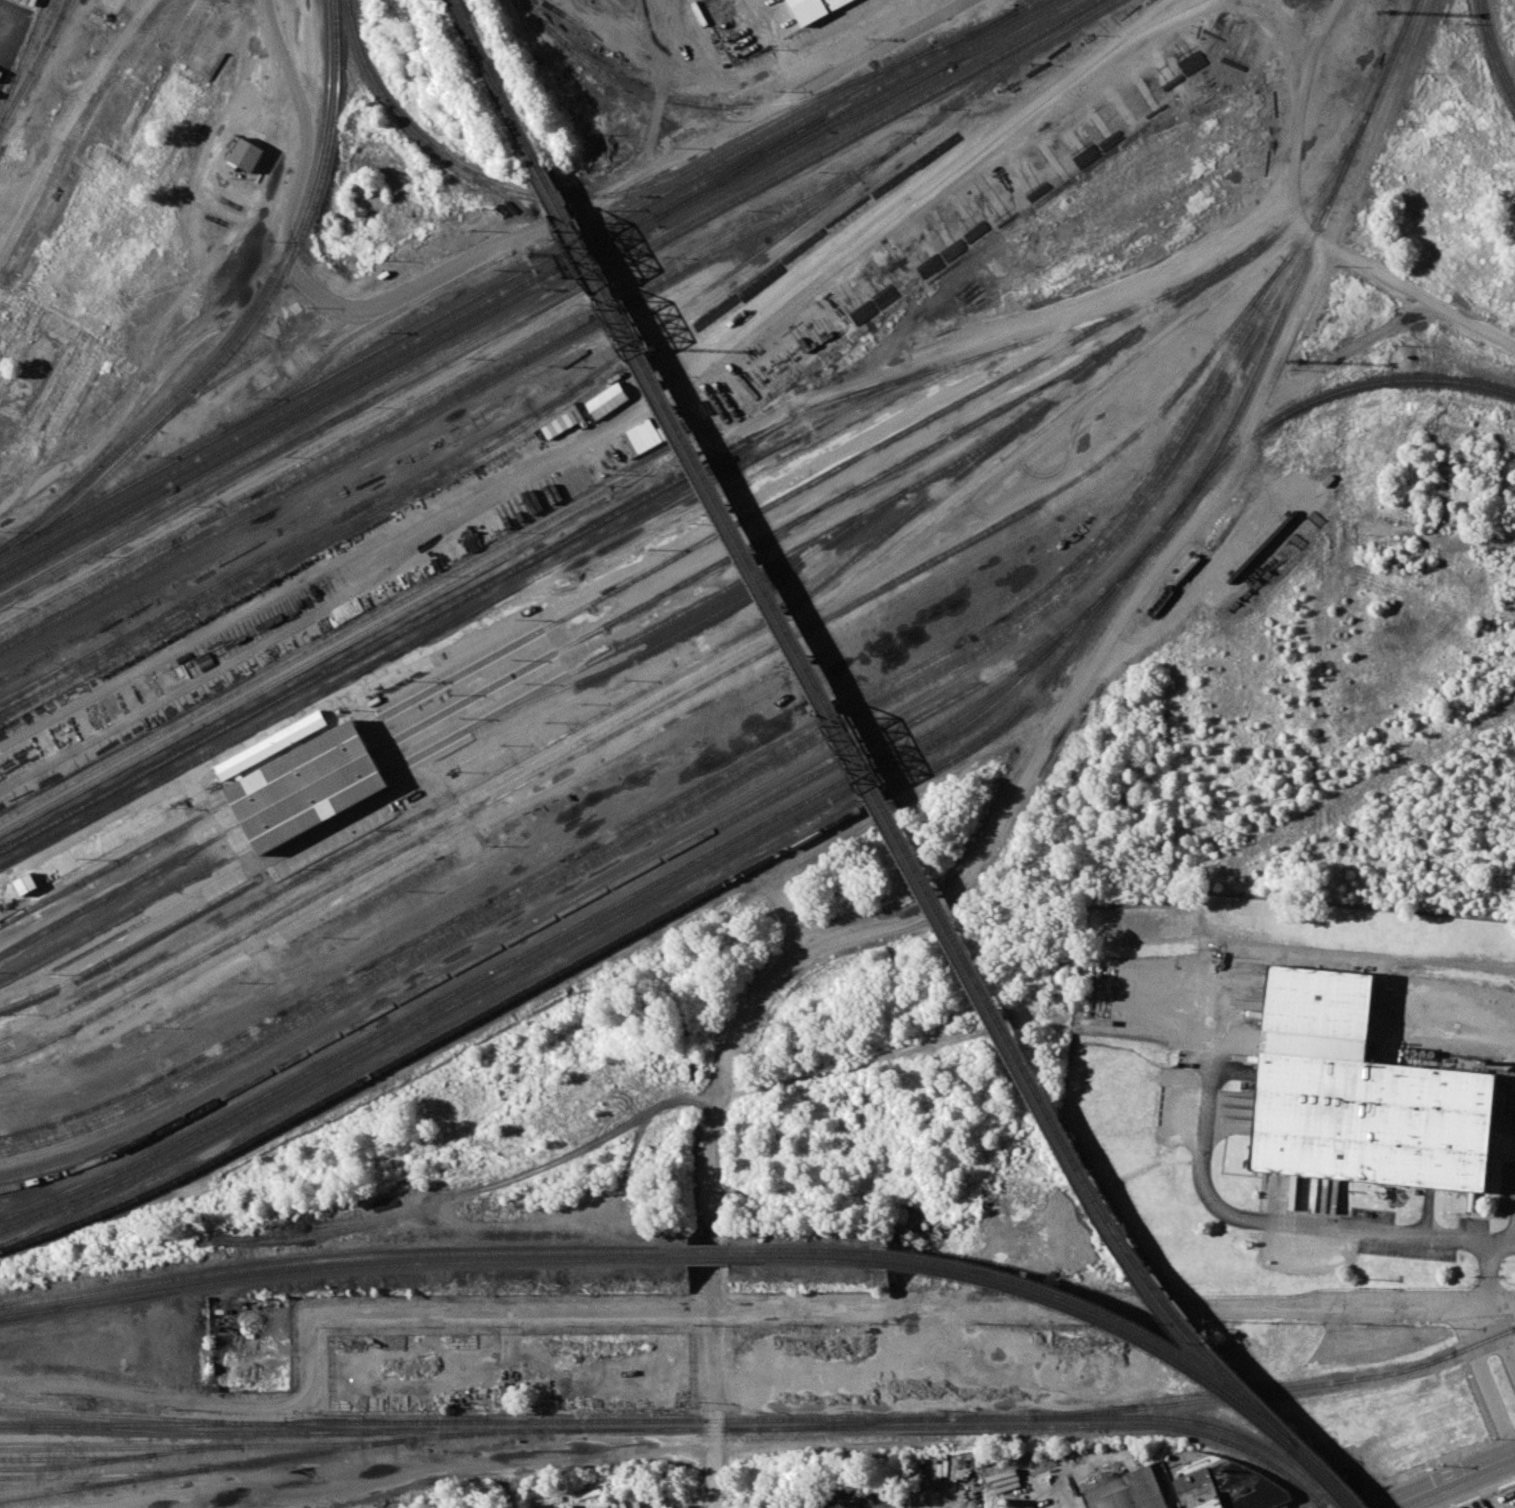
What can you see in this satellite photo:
building: (816, 9)
railway: (58, 20)
railway: (946, 43)
railway: (1493, 52)
railway: (23, 59)
railway: (35, 63)
railway: (988, 80)
railway: (498, 87)
railway: (685, 100)
road: (74, 121)
road: (314, 123)
building: (247, 154)
railway: (742, 167)
railway: (575, 196)
road: (1305, 229)
road: (475, 258)
railway: (519, 283)
railway: (529, 288)
road: (325, 296)
railway: (466, 301)
railway: (549, 302)
railway: (260, 313)
railway: (245, 319)
railway: (667, 321)
railway: (358, 332)
railway: (505, 363)
railway: (213, 385)
railway: (1322, 397)
building: (607, 400)
railway: (416, 401)
railway: (868, 416)
railway: (423, 419)
road: (1019, 451)
railway: (898, 465)
railway: (801, 489)
railway: (591, 498)
railway: (290, 546)
railway: (528, 561)
railway: (767, 567)
railway: (231, 589)
railway: (507, 593)
railway: (60, 606)
railway: (703, 621)
railway: (355, 638)
railway: (328, 662)
railway: (669, 703)
building: (271, 745)
railway: (528, 755)
railway: (766, 758)
railway: (732, 766)
railway: (739, 782)
building: (303, 788)
railway: (877, 798)
railway: (896, 828)
railway: (9, 864)
railway: (113, 864)
building: (25, 884)
railway: (117, 893)
railway: (594, 897)
railway: (126, 917)
railway: (148, 919)
railway: (565, 932)
railway: (136, 945)
railway: (538, 959)
road: (792, 964)
building: (1357, 1096)
building: (1499, 1101)
road: (1288, 1224)
railway: (812, 1249)
railway: (709, 1250)
railway: (341, 1258)
railway: (707, 1259)
railway: (809, 1259)
railway: (340, 1267)
road: (1490, 1276)
road: (909, 1310)
railway: (1112, 1317)
road: (1502, 1336)
railway: (1143, 1342)
road: (509, 1349)
road: (306, 1356)
road: (1487, 1378)
railway: (1278, 1389)
road: (713, 1410)
railway: (140, 1417)
railway: (658, 1420)
railway: (852, 1423)
railway: (1199, 1423)
railway: (157, 1424)
railway: (16, 1425)
railway: (568, 1429)
railway: (901, 1437)
railway: (1222, 1441)
railway: (202, 1446)
railway: (72, 1458)
railway: (115, 1459)
railway: (269, 1459)
street lamp: (1437, 1466)
railway: (98, 1474)
railway: (1333, 1477)
road: (1452, 1481)
building: (1220, 1483)
railway: (65, 1485)
building: (1127, 1492)
road: (514, 1494)
road: (1073, 1498)

